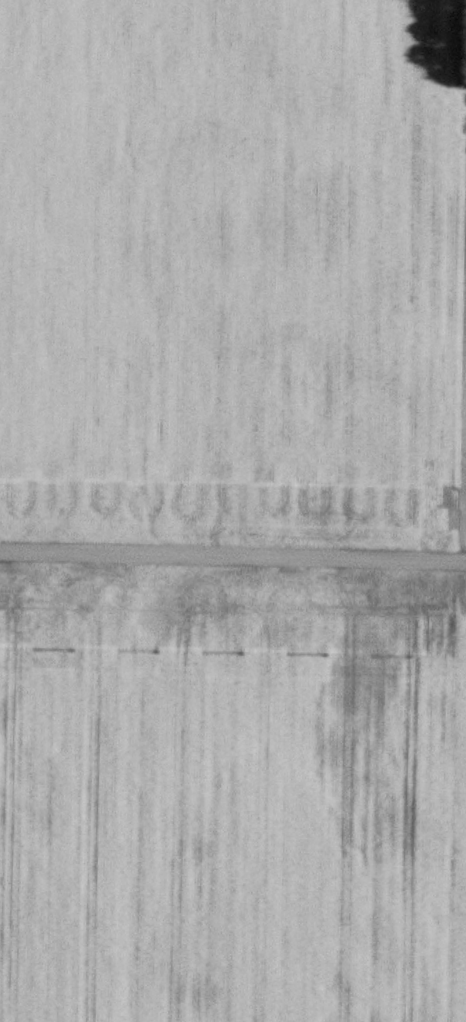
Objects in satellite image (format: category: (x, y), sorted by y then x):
road: (232, 559)

